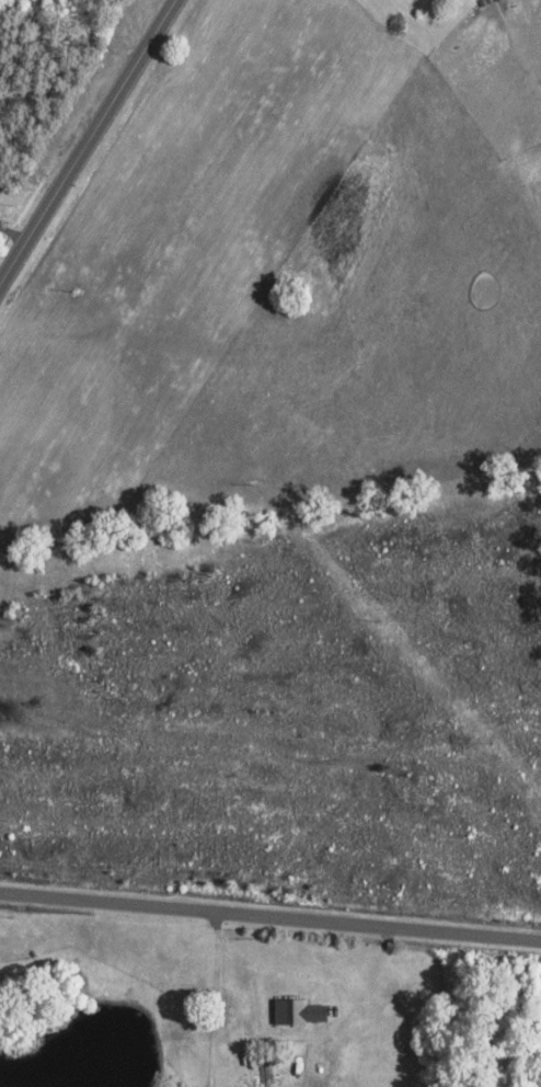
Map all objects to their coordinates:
road: (89, 145)
road: (269, 916)
building: (262, 1076)

